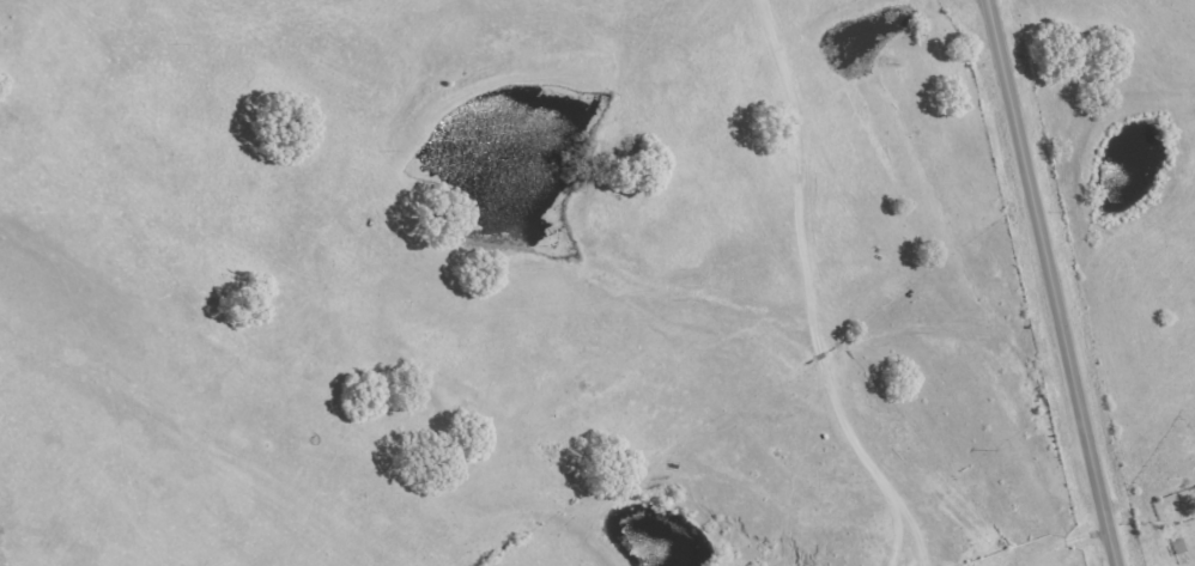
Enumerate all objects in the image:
road: (1049, 282)
road: (511, 480)

